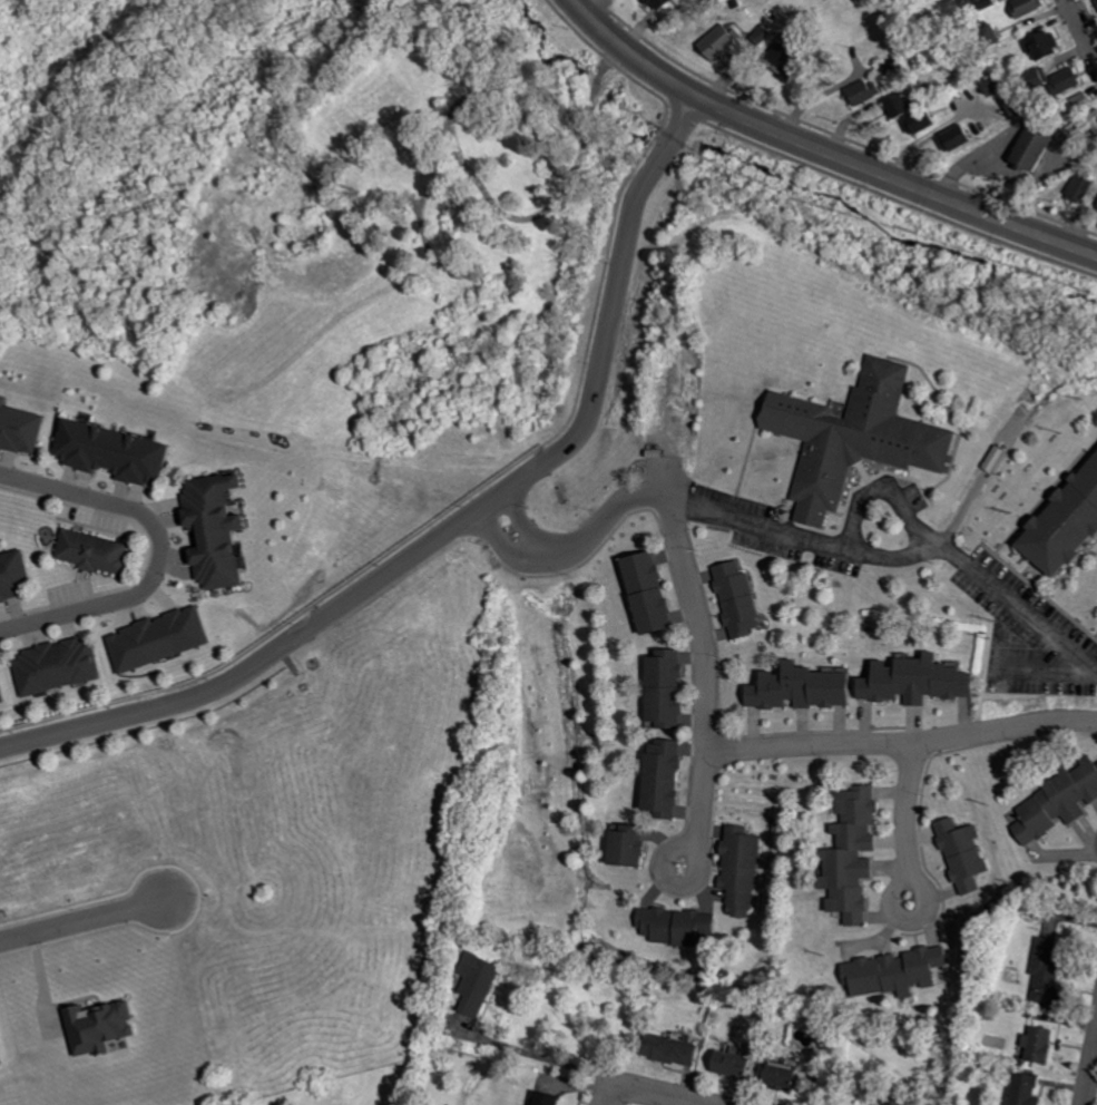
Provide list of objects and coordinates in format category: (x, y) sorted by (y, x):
road: (585, 1)
building: (1095, 2)
building: (656, 3)
building: (976, 6)
building: (1023, 7)
road: (1083, 27)
building: (985, 36)
building: (717, 42)
building: (1040, 45)
building: (1048, 80)
building: (861, 92)
building: (894, 106)
building: (917, 123)
building: (951, 139)
road: (827, 140)
building: (1027, 149)
road: (974, 160)
building: (1078, 189)
building: (22, 426)
building: (852, 438)
building: (114, 452)
road: (460, 519)
building: (1061, 520)
building: (218, 535)
road: (839, 545)
road: (575, 547)
building: (98, 550)
road: (164, 550)
road: (951, 557)
building: (16, 575)
building: (644, 593)
building: (734, 599)
building: (165, 638)
road: (709, 661)
building: (60, 665)
road: (1047, 668)
building: (913, 681)
building: (796, 688)
building: (662, 690)
building: (2, 691)
road: (905, 743)
building: (658, 780)
road: (911, 799)
building: (1056, 802)
building: (623, 848)
building: (848, 855)
building: (960, 855)
building: (737, 871)
road: (895, 910)
road: (84, 919)
building: (672, 926)
building: (1042, 970)
building: (893, 972)
building: (481, 985)
building: (104, 1026)
building: (1035, 1045)
building: (666, 1049)
road: (542, 1055)
building: (1, 1056)
building: (726, 1064)
road: (1091, 1079)
building: (1021, 1089)
road: (665, 1095)
road: (614, 1096)
building: (541, 1098)
building: (889, 1102)

